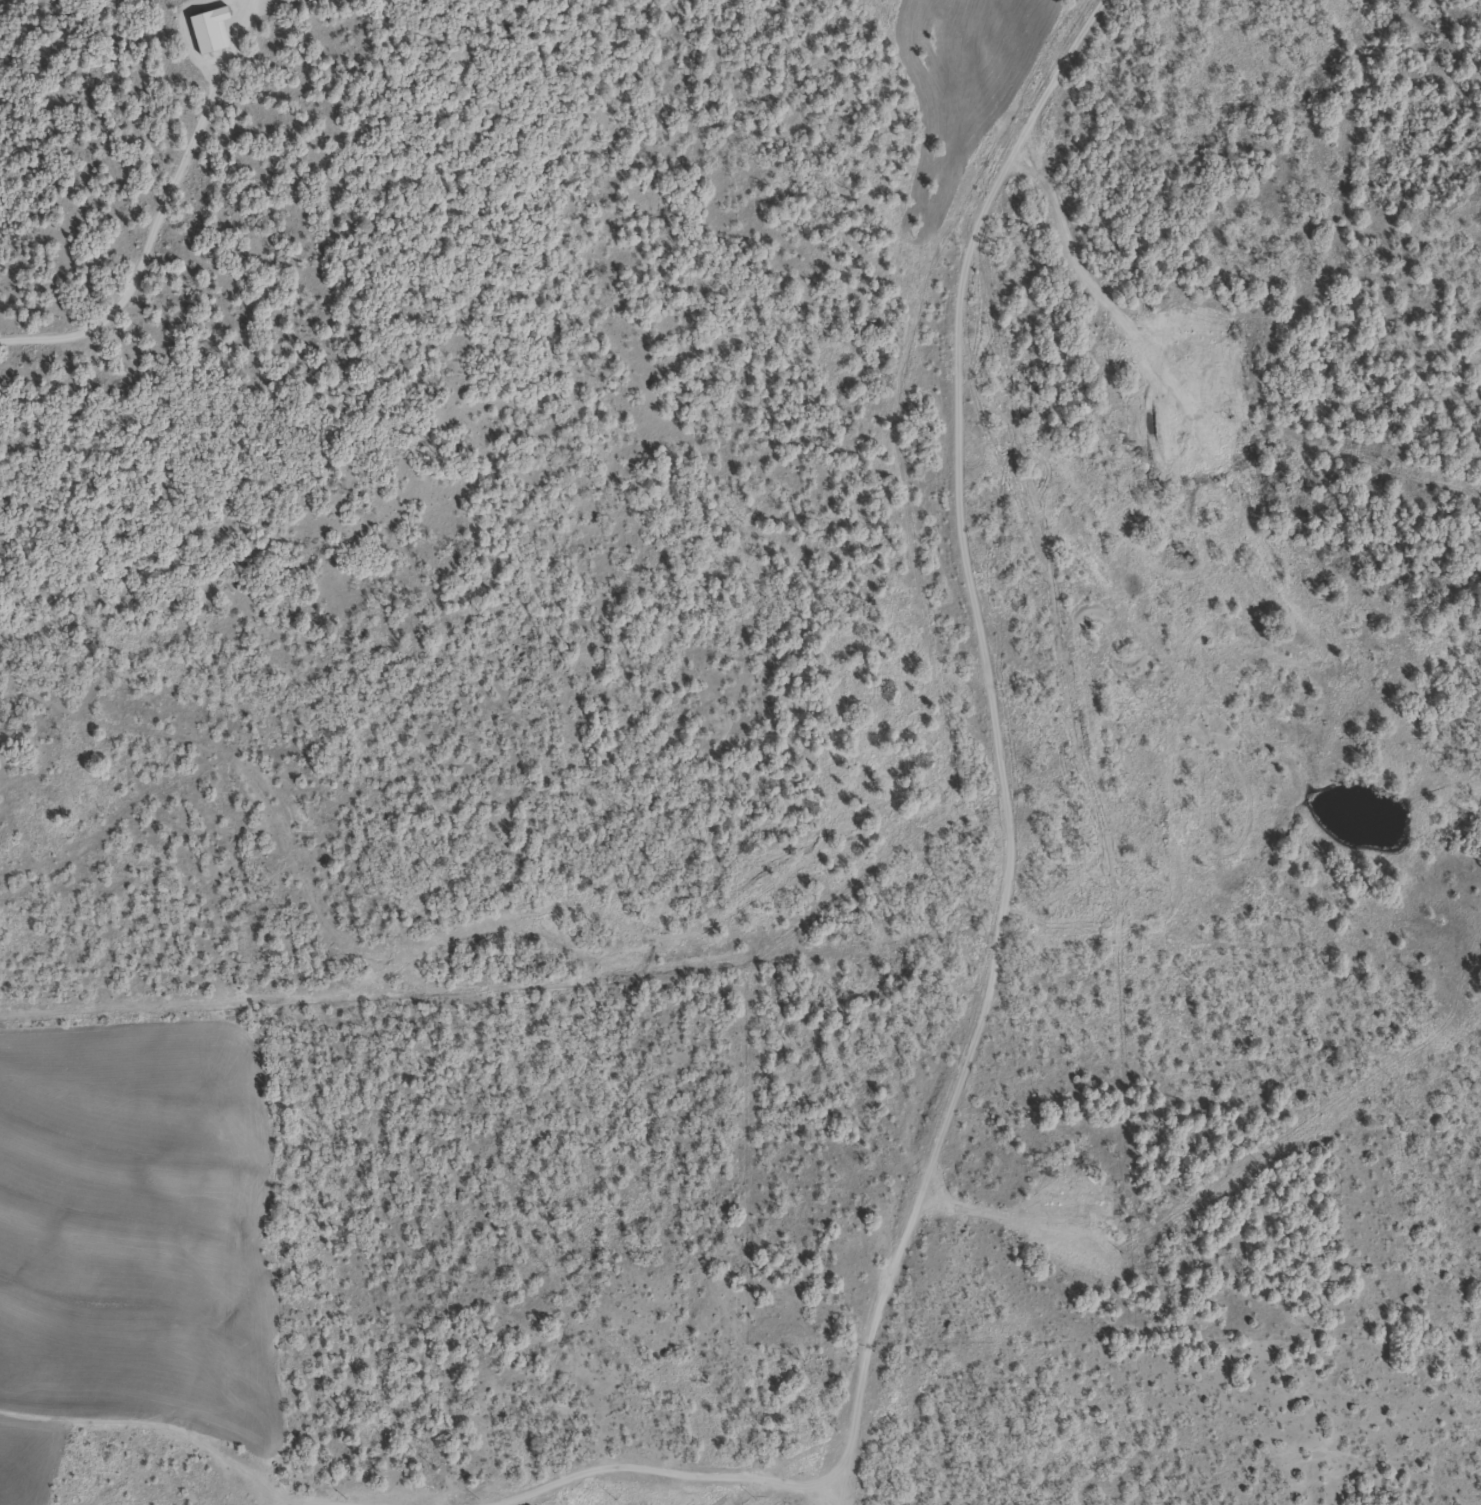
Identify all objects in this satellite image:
building: (207, 29)

